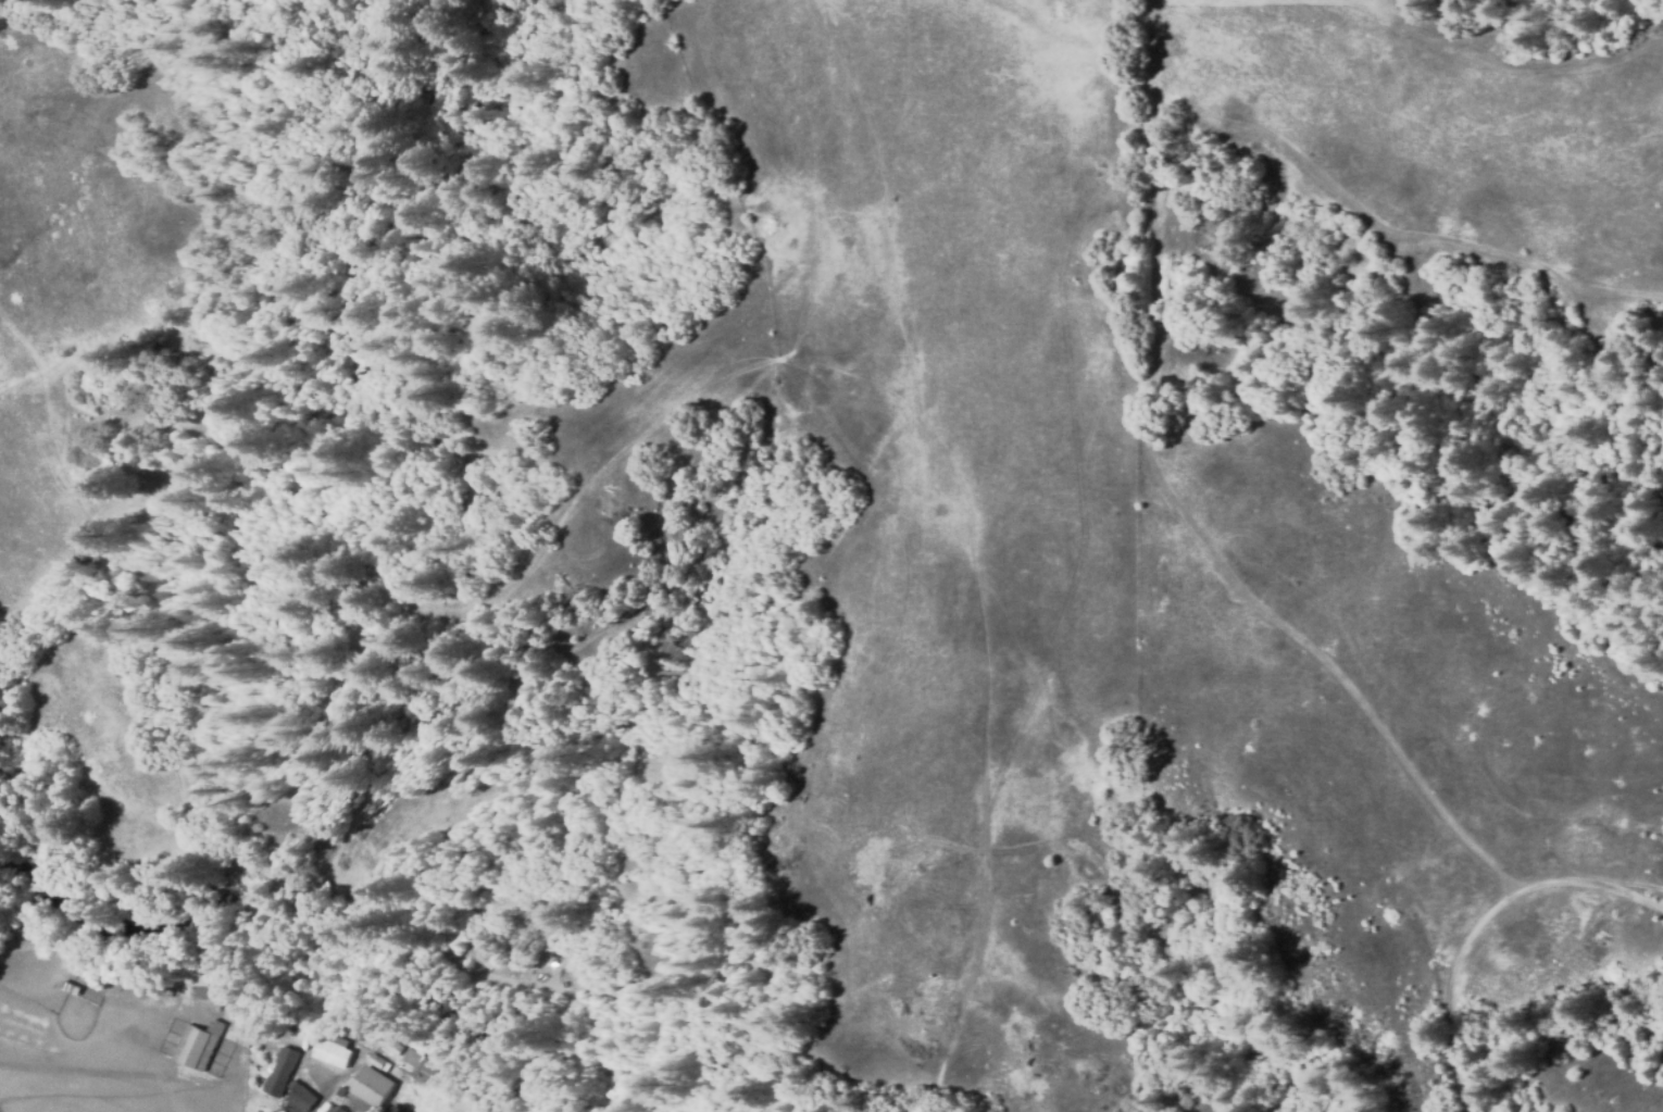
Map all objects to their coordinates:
road: (1620, 878)
building: (327, 885)
building: (350, 905)
road: (1479, 922)
building: (197, 980)
building: (485, 990)
building: (200, 1045)
building: (391, 1045)
building: (335, 1050)
building: (380, 1062)
building: (420, 1063)
building: (283, 1072)
building: (376, 1087)
building: (304, 1098)
building: (336, 1109)

